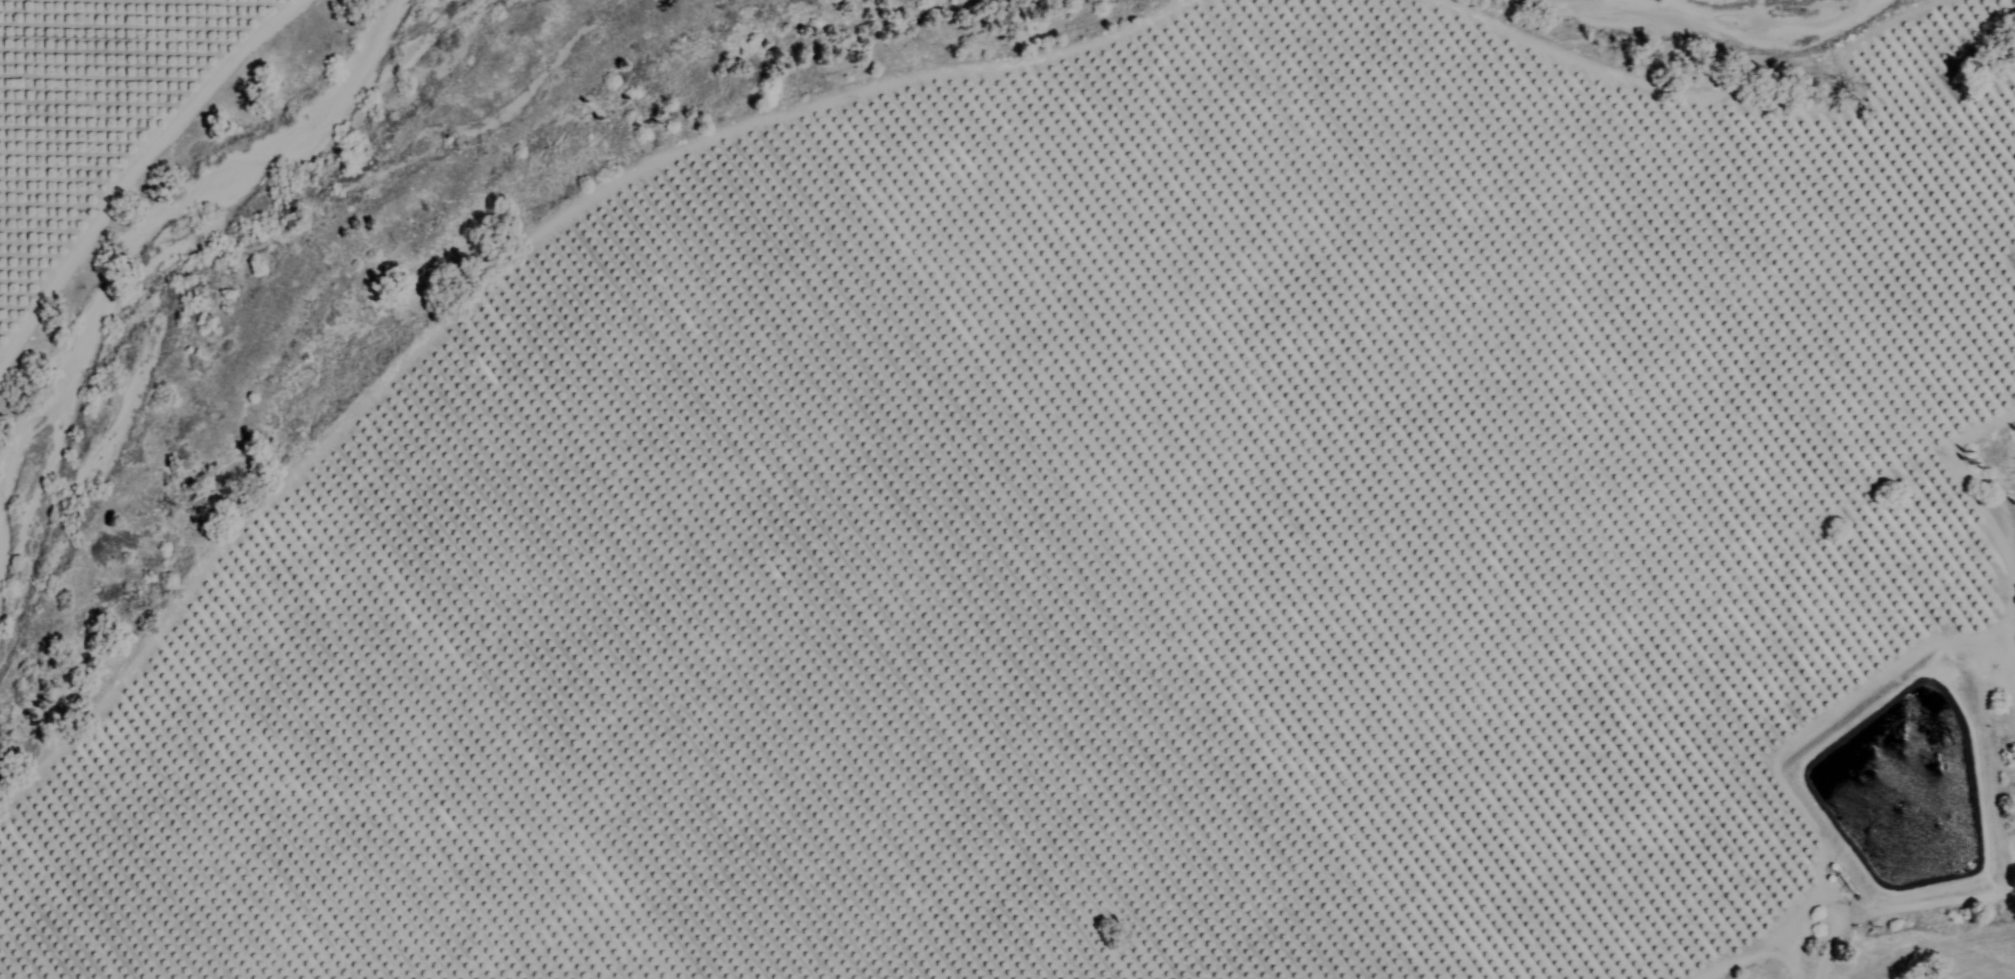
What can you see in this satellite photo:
crop: (96, 107)
crop: (1129, 557)

